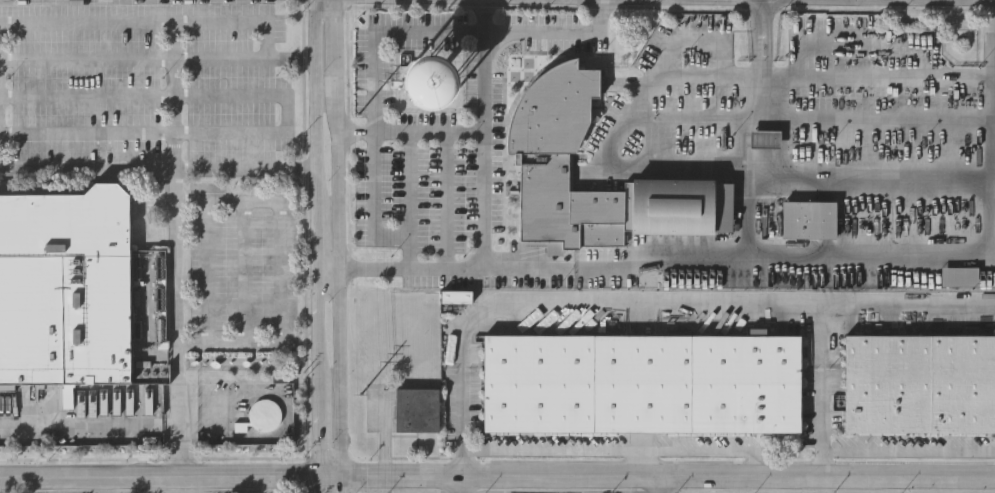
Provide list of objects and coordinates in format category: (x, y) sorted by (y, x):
road: (765, 18)
road: (87, 19)
road: (256, 21)
road: (397, 33)
road: (560, 34)
road: (759, 47)
road: (769, 49)
road: (224, 57)
road: (87, 58)
road: (673, 78)
road: (767, 79)
building: (431, 80)
water tower: (431, 80)
road: (892, 80)
road: (485, 81)
parking lot: (146, 83)
road: (87, 96)
road: (990, 99)
road: (891, 112)
road: (286, 116)
road: (478, 128)
road: (87, 132)
building: (766, 139)
building: (543, 154)
road: (664, 165)
road: (245, 167)
road: (88, 168)
road: (848, 170)
road: (409, 183)
road: (445, 197)
road: (373, 215)
building: (808, 220)
road: (314, 239)
road: (336, 239)
road: (176, 247)
road: (665, 262)
road: (325, 267)
road: (205, 270)
road: (245, 270)
building: (958, 273)
road: (279, 274)
building: (76, 288)
building: (457, 295)
road: (650, 313)
building: (642, 382)
building: (920, 382)
road: (820, 393)
building: (418, 408)
building: (262, 413)
road: (88, 424)
road: (622, 449)
road: (639, 462)
road: (655, 476)
road: (157, 477)
road: (329, 484)
road: (460, 484)
road: (658, 484)

